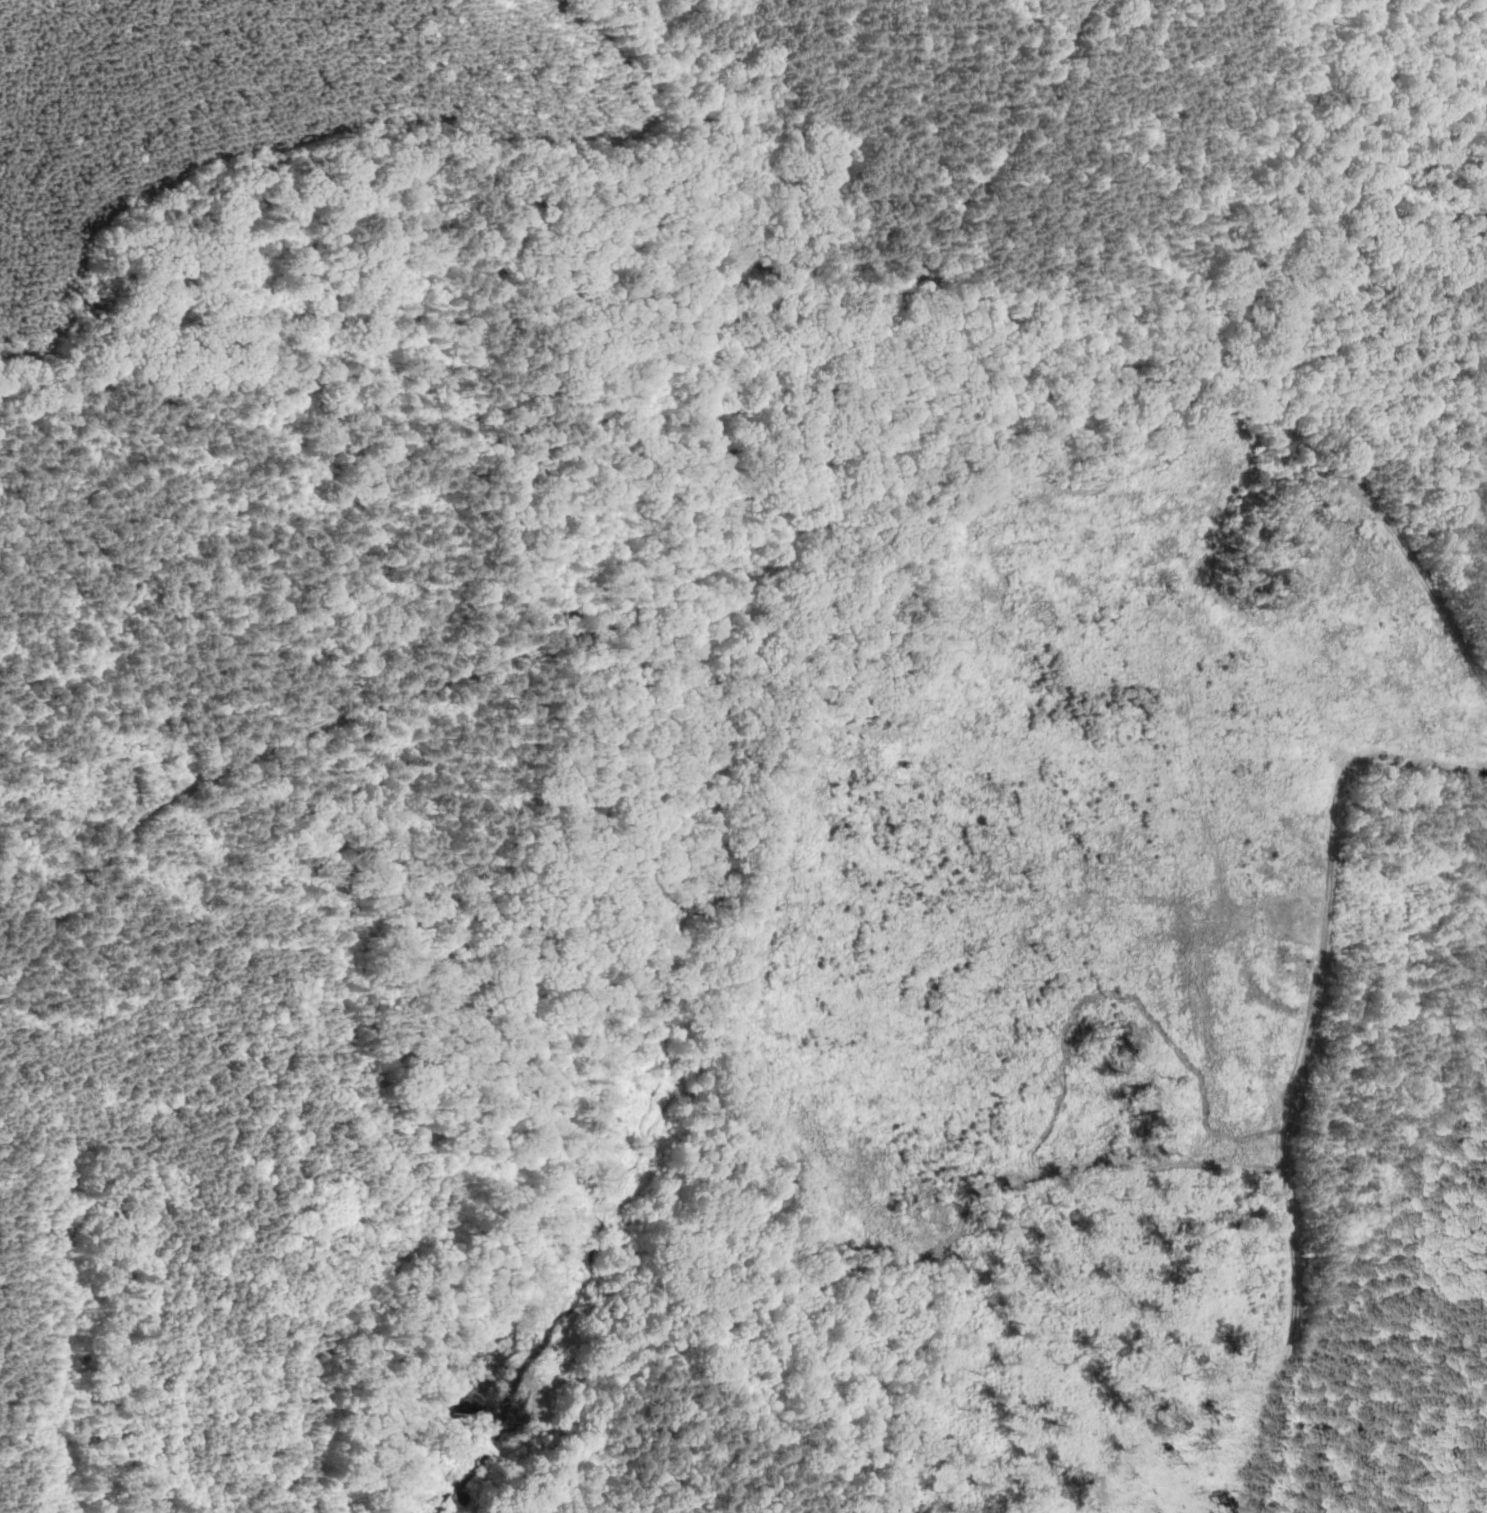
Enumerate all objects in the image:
road: (1248, 418)
road: (625, 591)

